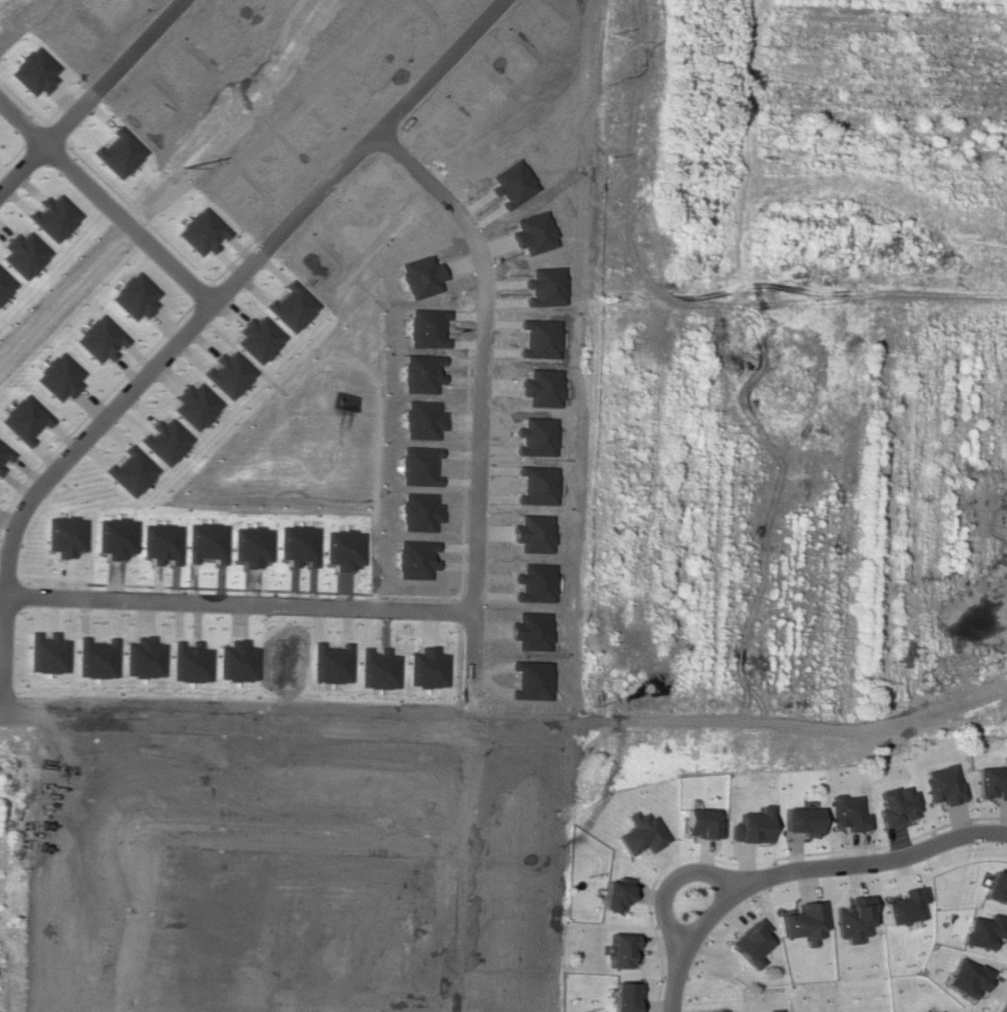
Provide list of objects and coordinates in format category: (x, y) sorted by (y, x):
building: (32, 71)
road: (89, 95)
road: (247, 119)
building: (117, 153)
power tower: (179, 165)
road: (105, 202)
building: (54, 218)
road: (133, 230)
building: (200, 231)
building: (24, 255)
road: (227, 284)
building: (4, 285)
building: (133, 296)
road: (63, 303)
building: (290, 307)
road: (1004, 326)
building: (98, 339)
building: (256, 339)
building: (226, 374)
building: (57, 377)
building: (193, 405)
road: (479, 410)
building: (23, 419)
building: (164, 441)
building: (4, 456)
building: (129, 471)
building: (63, 535)
road: (236, 603)
road: (2, 653)
building: (45, 653)
road: (282, 723)
building: (991, 780)
building: (941, 784)
building: (895, 805)
building: (846, 813)
building: (799, 820)
building: (700, 823)
building: (751, 826)
building: (639, 833)
road: (298, 842)
road: (761, 861)
road: (827, 865)
road: (450, 870)
road: (668, 883)
building: (994, 885)
building: (614, 893)
building: (902, 906)
building: (851, 919)
building: (803, 922)
road: (132, 924)
building: (979, 930)
building: (750, 943)
building: (619, 949)
building: (964, 977)
road: (671, 983)
building: (623, 996)
building: (715, 1010)
building: (770, 1010)
building: (933, 1010)

